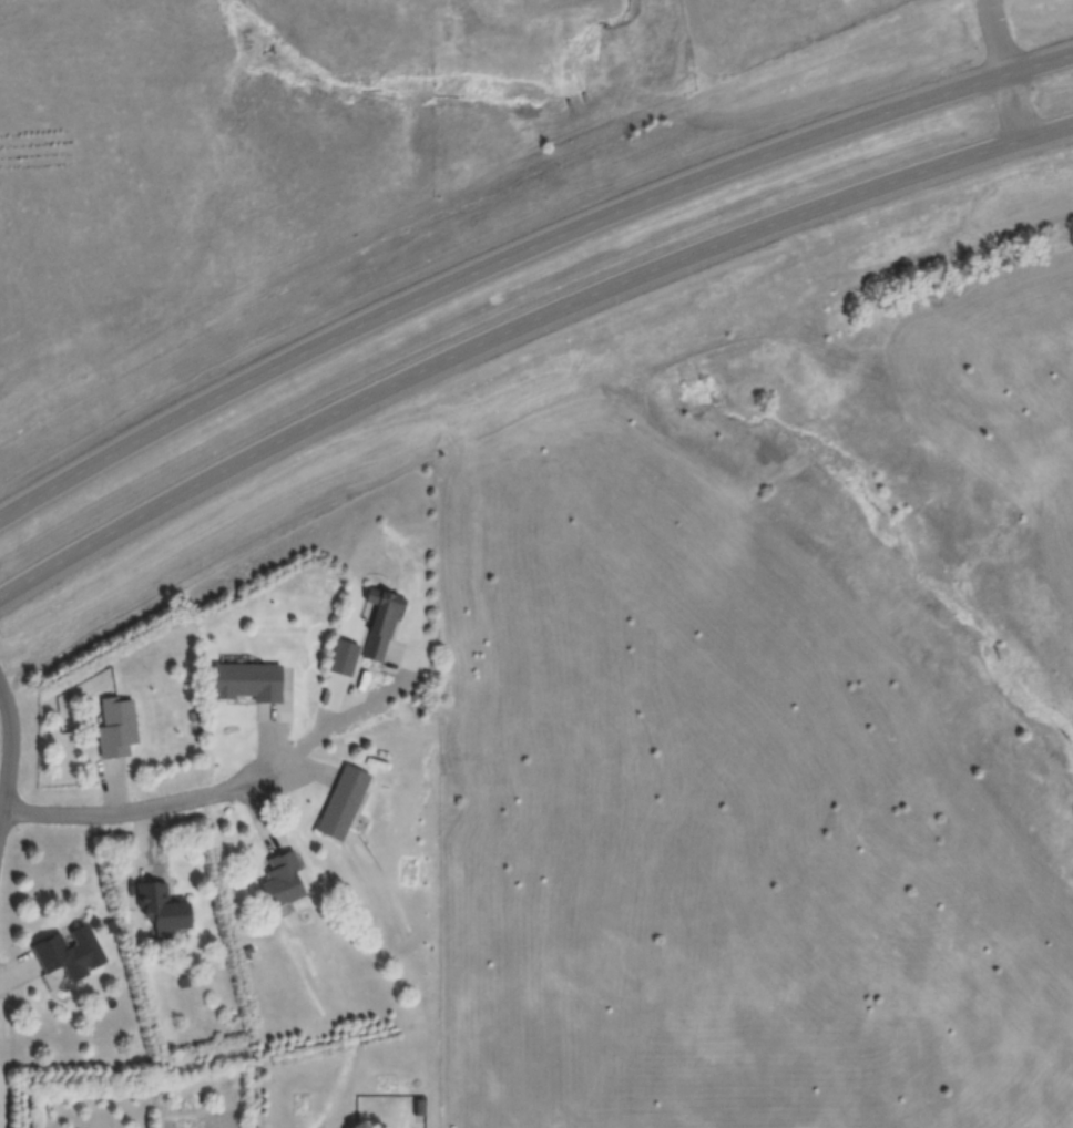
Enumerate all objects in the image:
road: (1005, 68)
road: (520, 249)
road: (521, 329)
building: (378, 621)
building: (341, 656)
building: (246, 680)
building: (116, 732)
road: (17, 792)
building: (341, 801)
road: (133, 813)
building: (280, 878)
building: (161, 909)
building: (67, 952)
building: (417, 1106)

